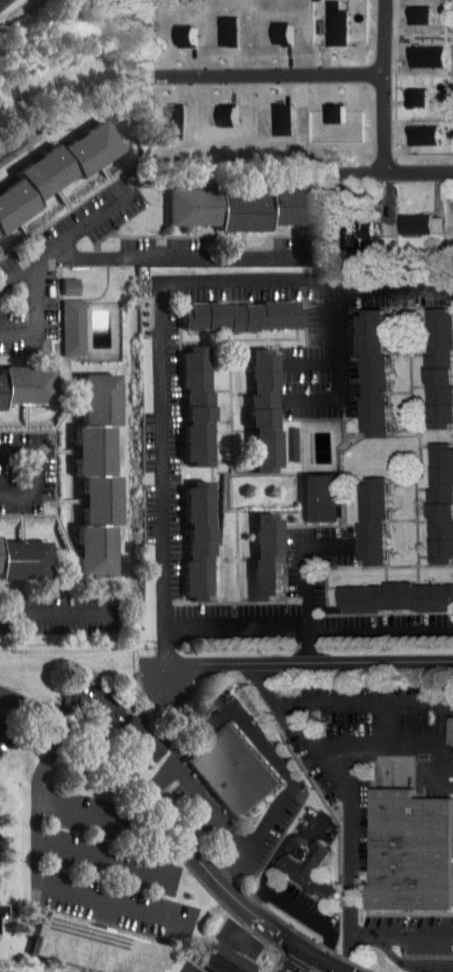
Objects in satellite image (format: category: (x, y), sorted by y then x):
building: (403, 9)
building: (323, 21)
building: (214, 25)
building: (270, 27)
building: (171, 29)
building: (410, 50)
road: (267, 71)
road: (383, 87)
building: (403, 91)
building: (320, 107)
building: (211, 110)
building: (266, 113)
building: (158, 116)
building: (408, 128)
road: (10, 146)
building: (46, 160)
road: (400, 173)
building: (227, 202)
building: (373, 209)
building: (449, 217)
building: (400, 218)
building: (340, 228)
road: (178, 258)
road: (44, 260)
road: (19, 279)
building: (58, 280)
building: (246, 314)
building: (61, 321)
road: (164, 330)
building: (427, 362)
road: (309, 363)
building: (441, 366)
building: (359, 367)
road: (333, 368)
building: (376, 372)
building: (18, 379)
building: (182, 400)
building: (249, 404)
building: (199, 405)
building: (266, 409)
building: (81, 470)
road: (34, 471)
building: (306, 492)
building: (323, 497)
building: (429, 497)
building: (443, 501)
building: (359, 514)
building: (375, 519)
building: (184, 536)
building: (200, 541)
building: (251, 550)
building: (16, 554)
building: (268, 555)
road: (307, 580)
building: (396, 596)
road: (54, 613)
road: (310, 628)
road: (310, 661)
road: (81, 695)
road: (19, 702)
road: (327, 702)
road: (6, 711)
building: (374, 716)
building: (445, 724)
building: (130, 732)
road: (387, 746)
road: (262, 747)
building: (233, 773)
road: (209, 805)
road: (93, 810)
road: (347, 835)
road: (187, 843)
building: (408, 850)
road: (108, 858)
road: (119, 858)
building: (308, 872)
road: (36, 876)
road: (300, 909)
road: (400, 932)
building: (97, 947)
building: (224, 960)
road: (288, 960)
road: (406, 962)

